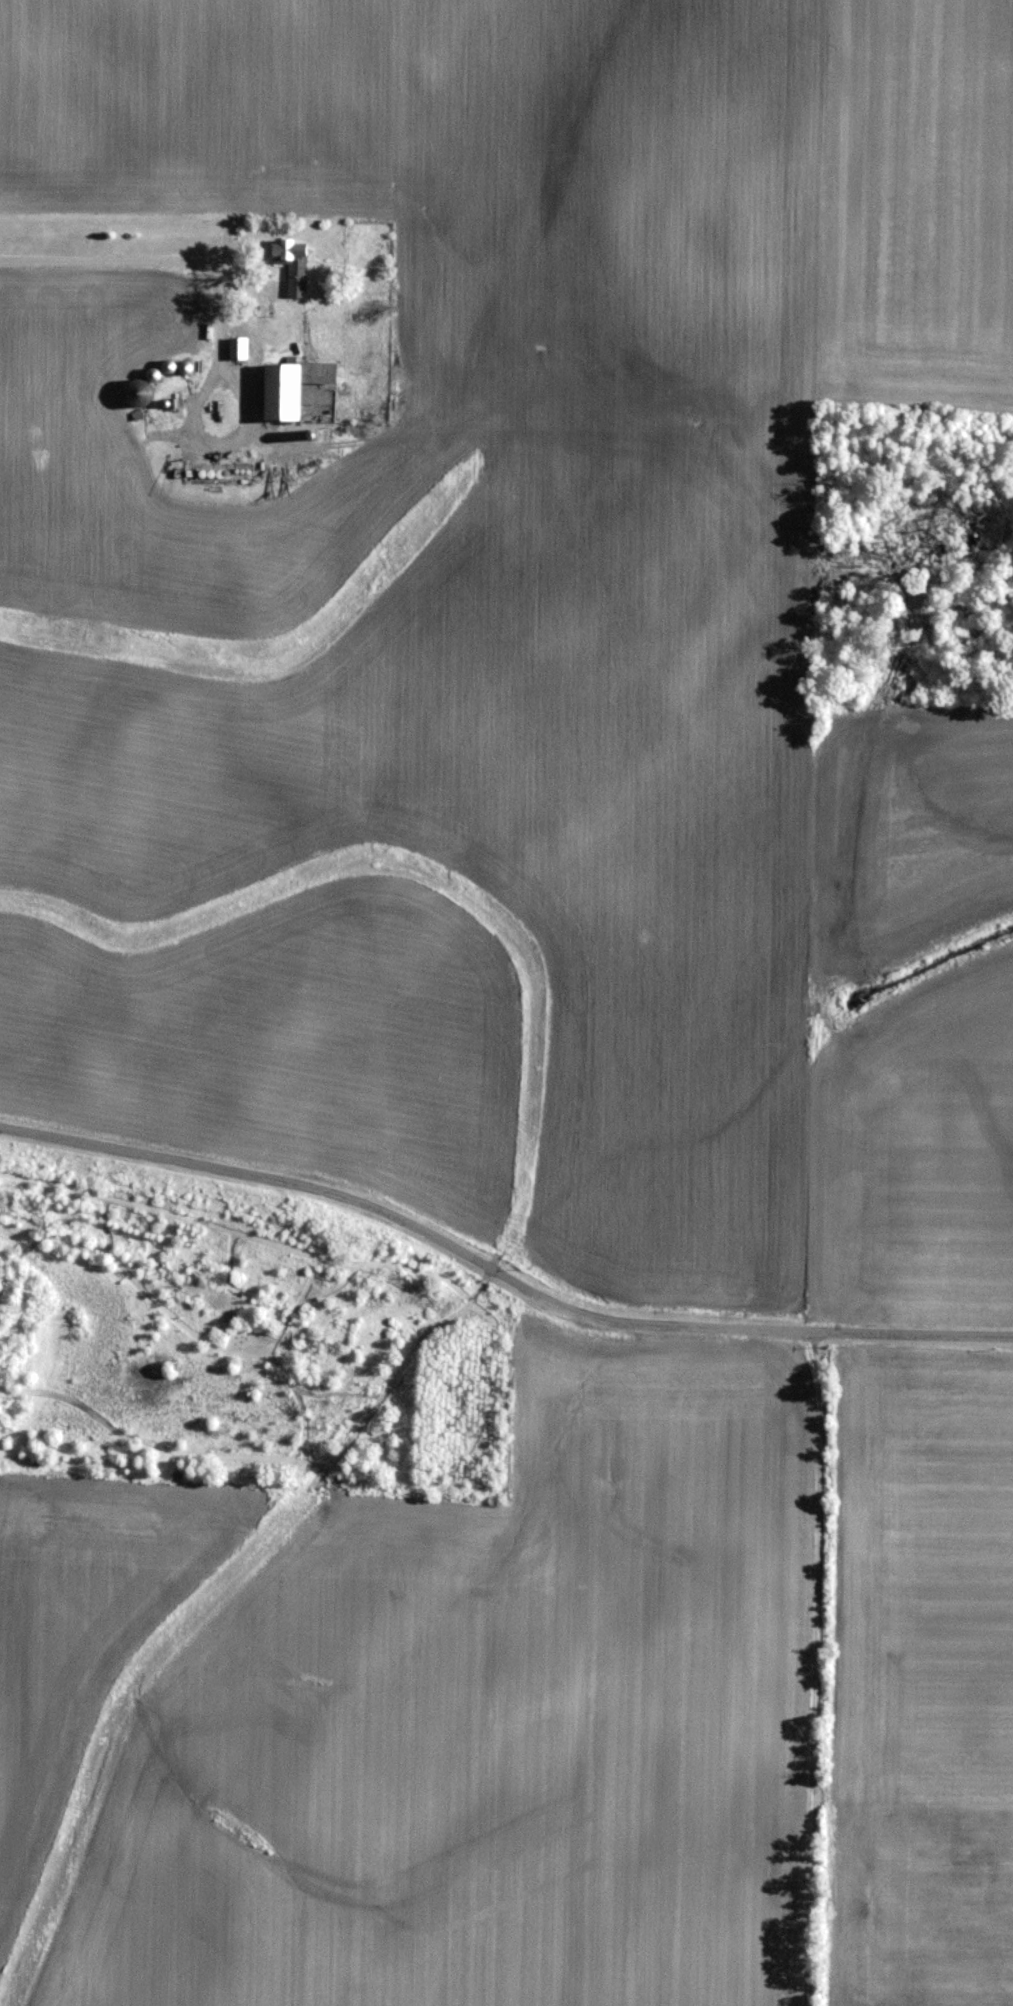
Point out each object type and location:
road: (223, 266)
road: (209, 279)
road: (254, 367)
road: (499, 1276)

